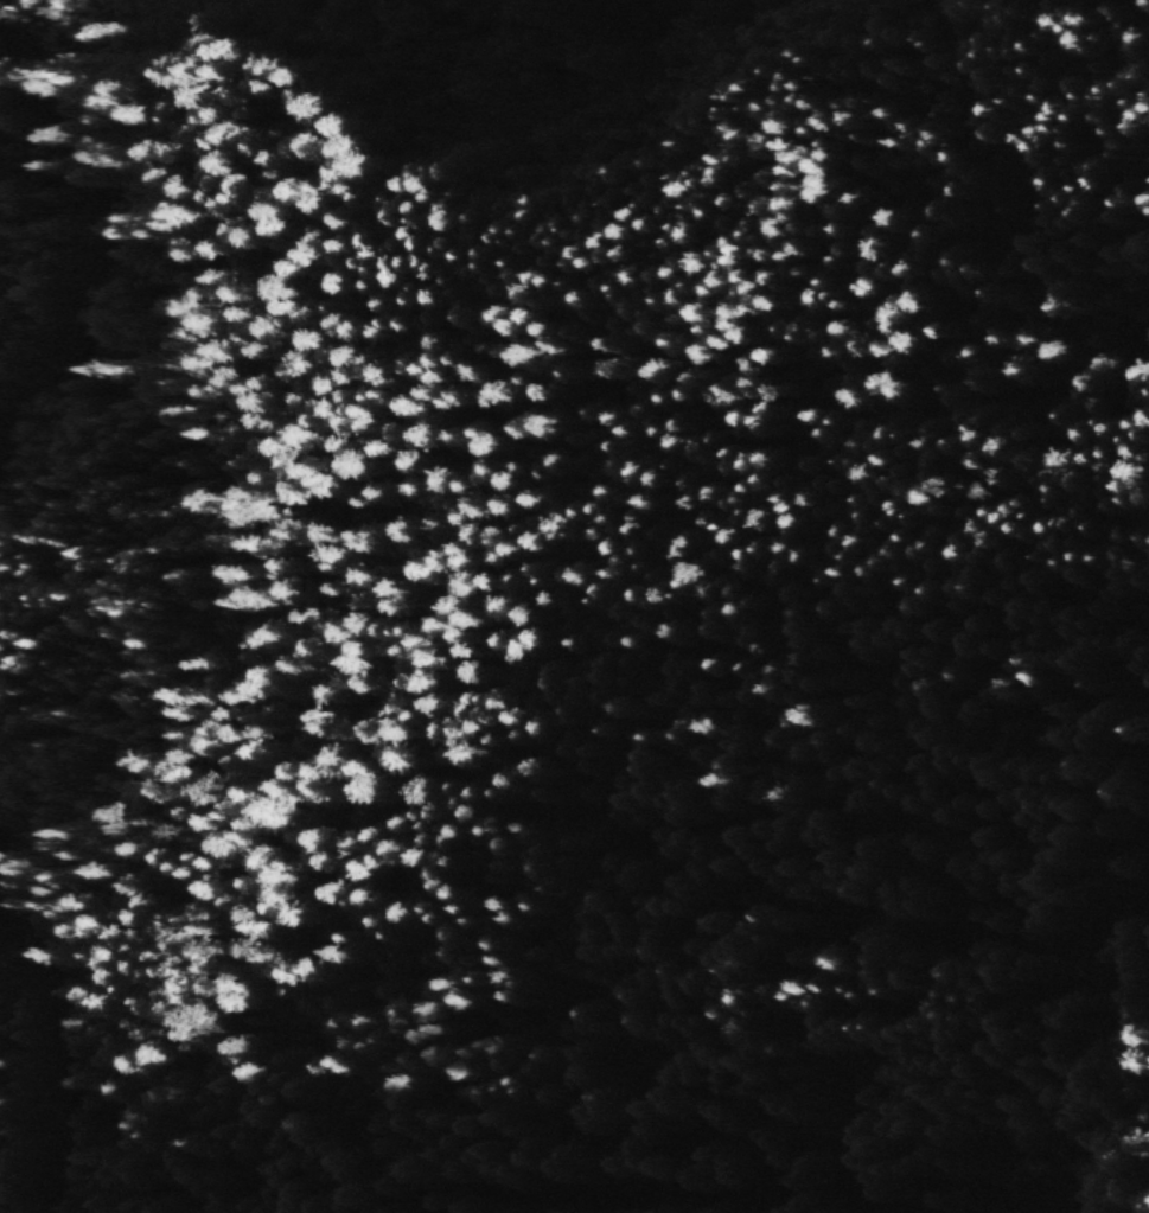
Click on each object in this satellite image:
road: (53, 241)
road: (20, 1083)

